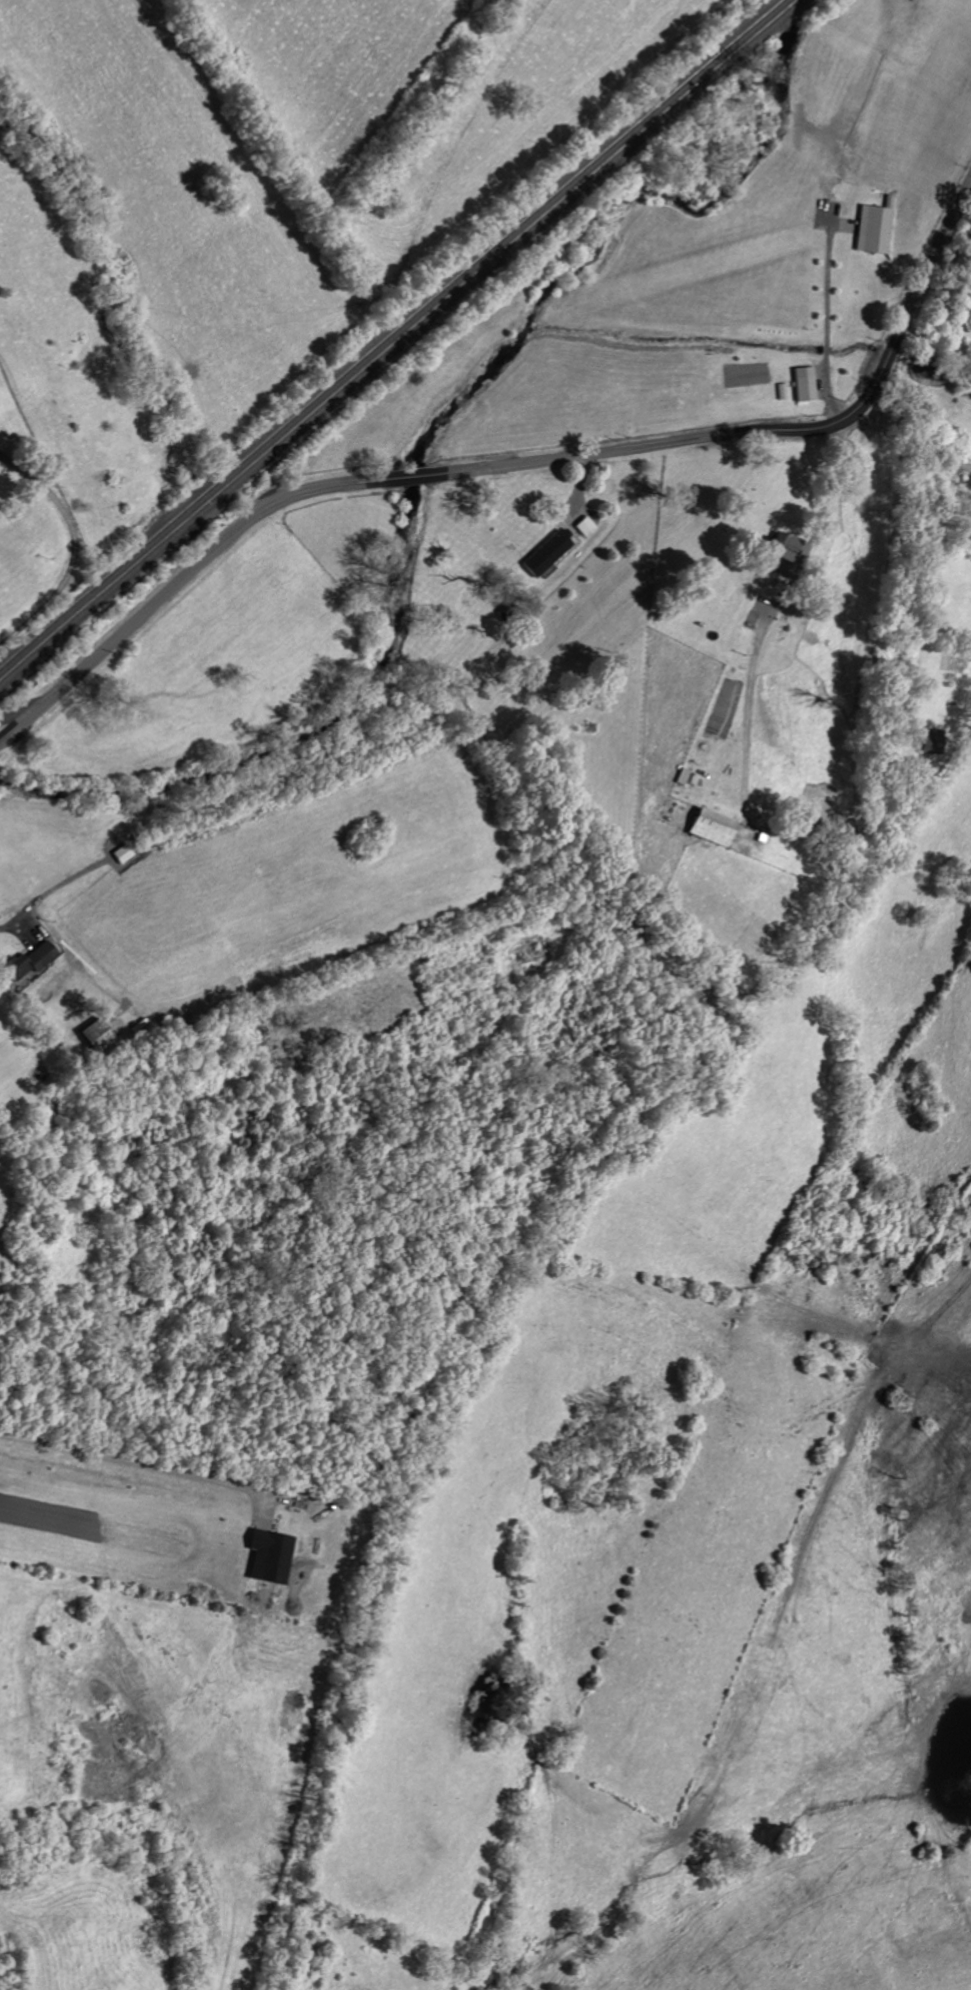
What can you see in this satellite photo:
building: (876, 231)
road: (822, 321)
railway: (390, 333)
railway: (398, 340)
building: (806, 386)
road: (914, 438)
road: (514, 462)
building: (589, 527)
road: (70, 547)
building: (788, 548)
building: (551, 553)
road: (772, 610)
road: (15, 709)
building: (932, 741)
building: (715, 828)
road: (11, 934)
building: (32, 961)
building: (99, 1036)
road: (130, 1468)
building: (271, 1558)

